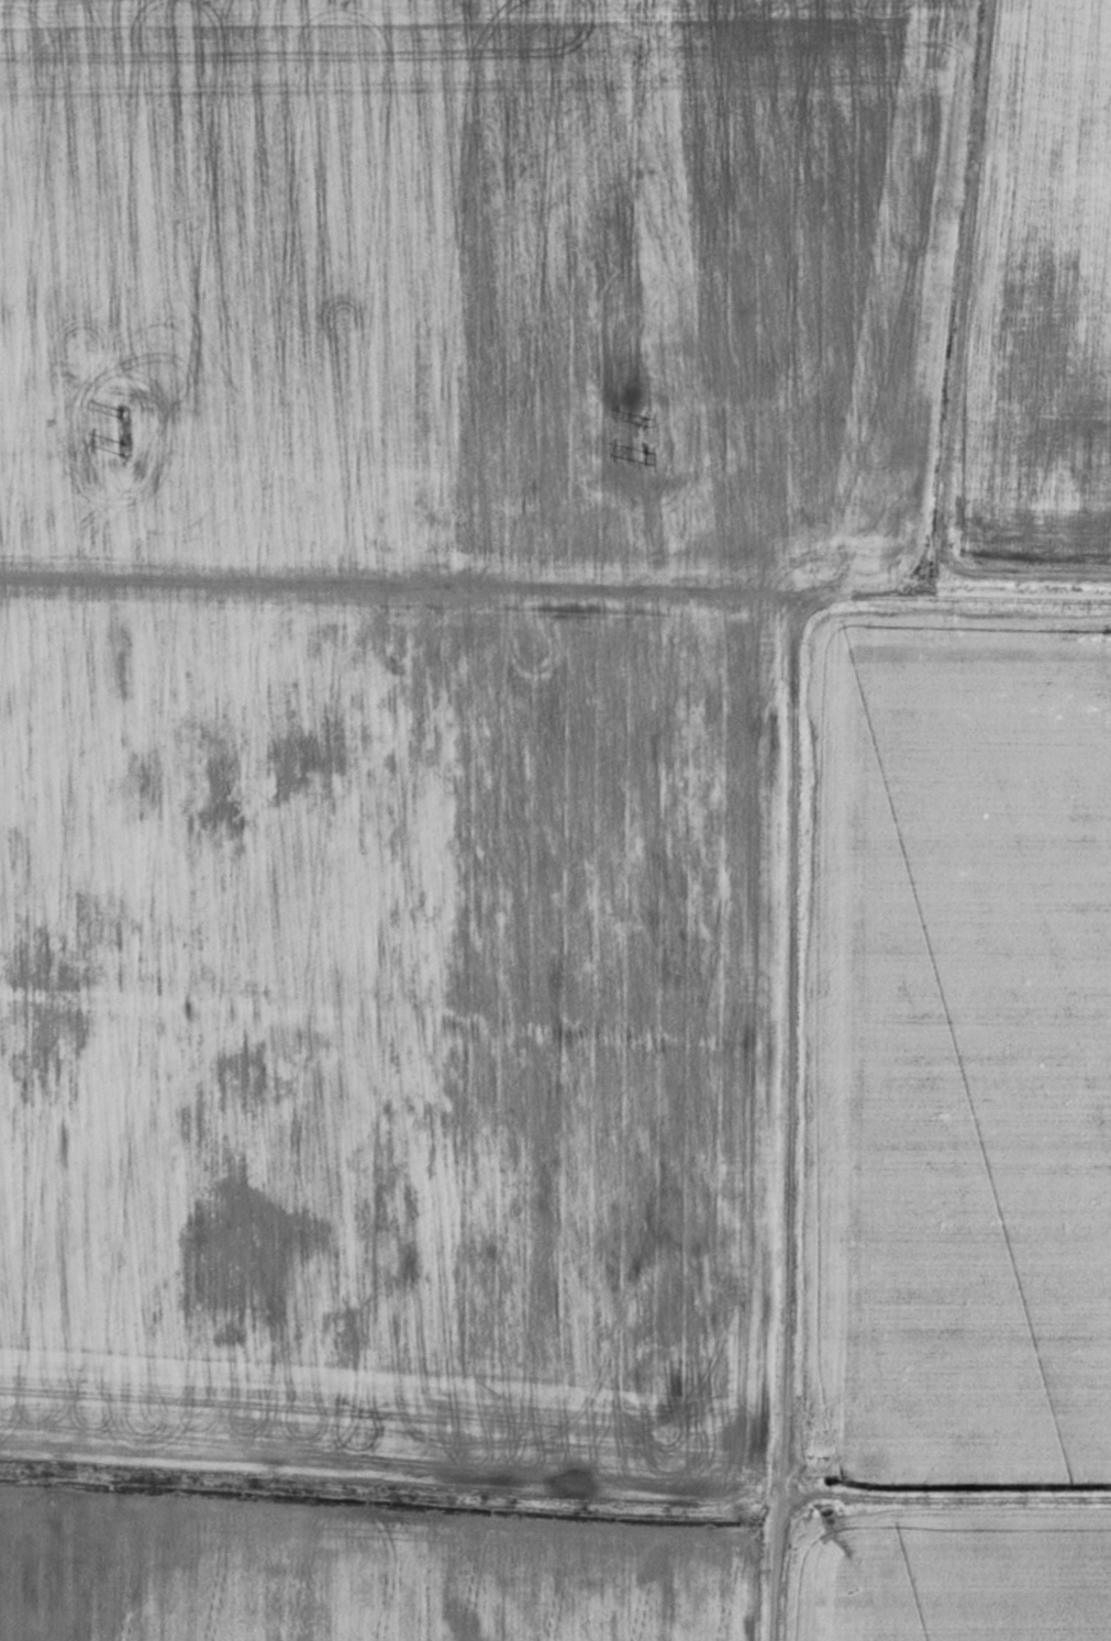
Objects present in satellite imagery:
road: (789, 966)
road: (340, 1481)

